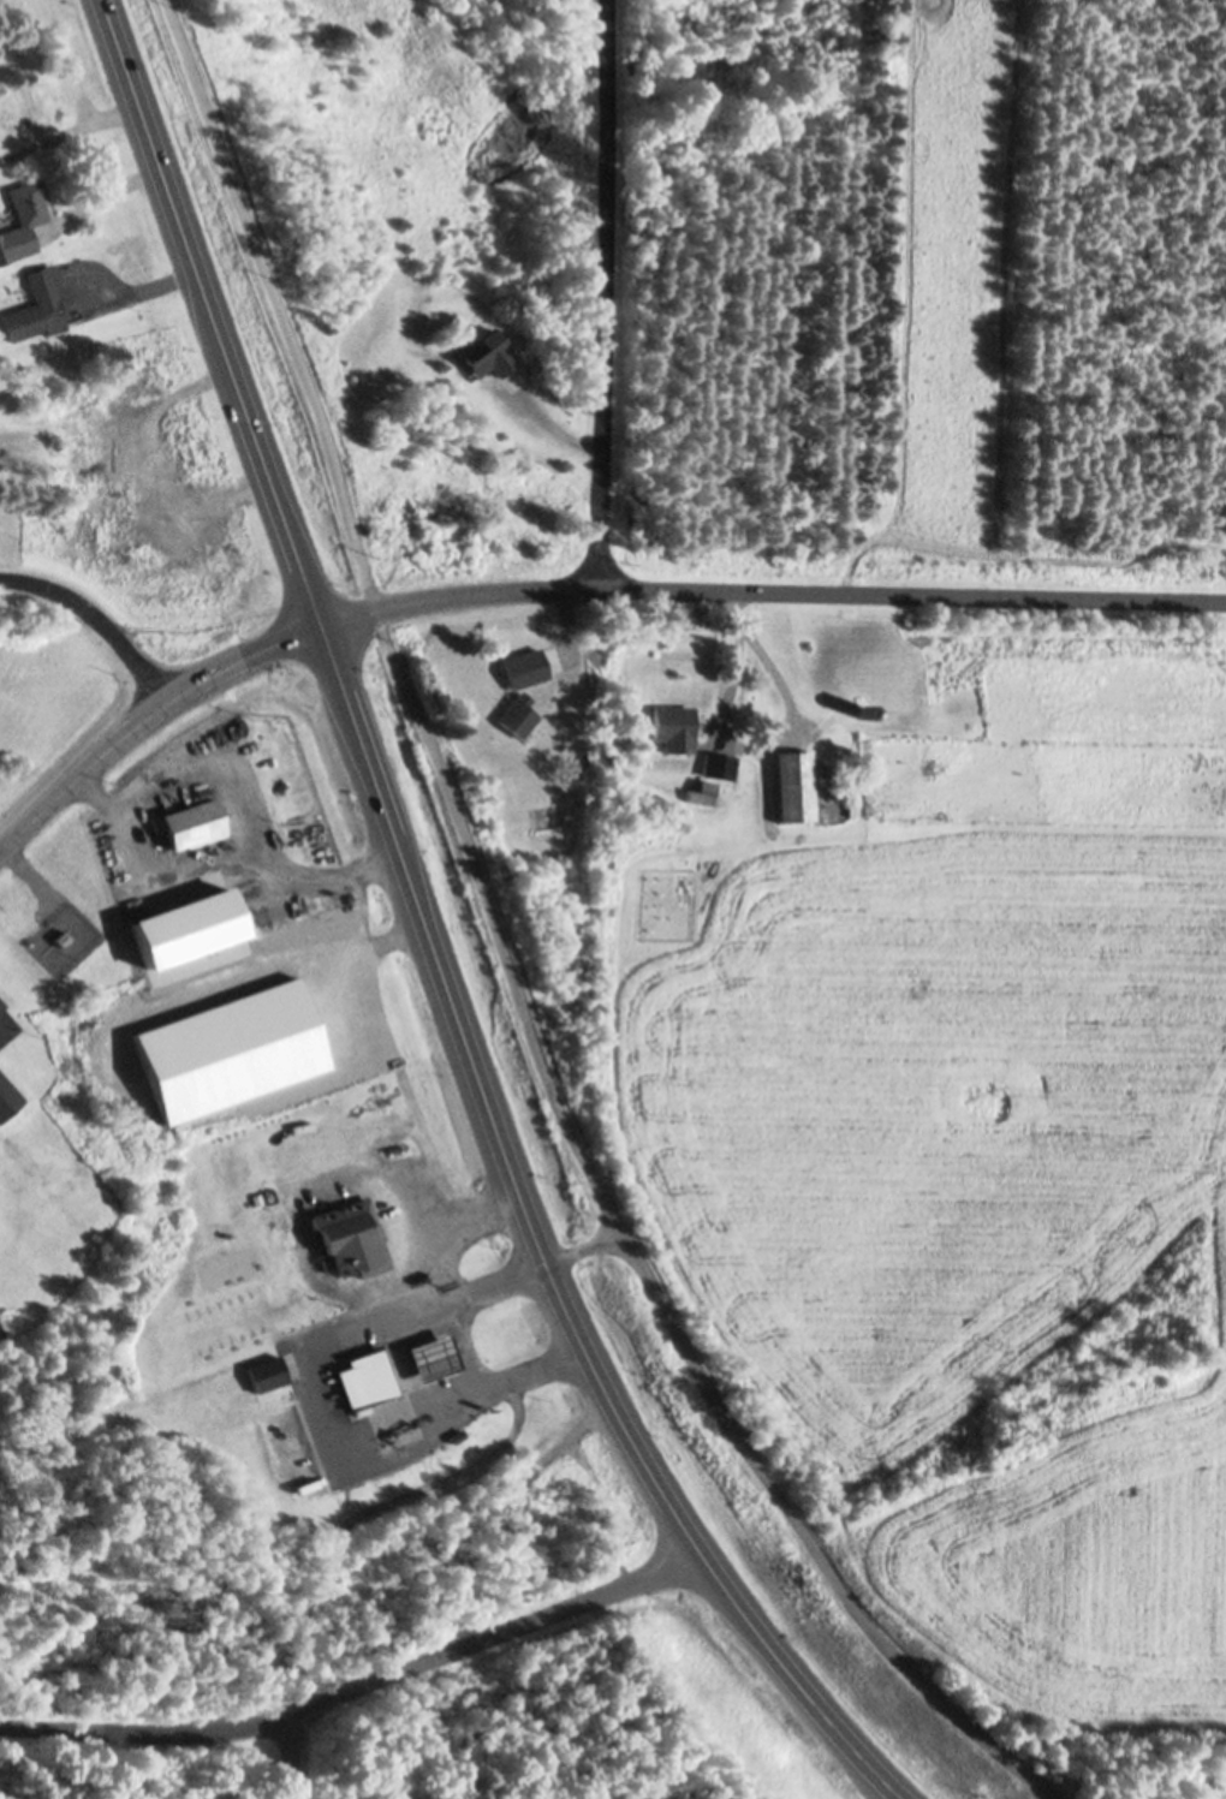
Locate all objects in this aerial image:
building: (22, 219)
road: (596, 294)
building: (37, 306)
building: (483, 353)
road: (768, 592)
road: (94, 618)
building: (853, 660)
building: (870, 683)
building: (567, 710)
building: (862, 710)
road: (143, 713)
building: (514, 717)
building: (672, 727)
building: (716, 764)
building: (816, 767)
building: (791, 785)
building: (700, 792)
building: (852, 803)
building: (189, 823)
building: (504, 869)
building: (184, 927)
building: (60, 937)
road: (427, 937)
road: (502, 958)
building: (573, 964)
building: (1, 1003)
building: (230, 1049)
building: (7, 1097)
building: (350, 1238)
road: (579, 1247)
building: (432, 1359)
building: (266, 1372)
building: (364, 1380)
building: (454, 1436)
road: (357, 1685)
road: (287, 1755)
building: (359, 1794)

